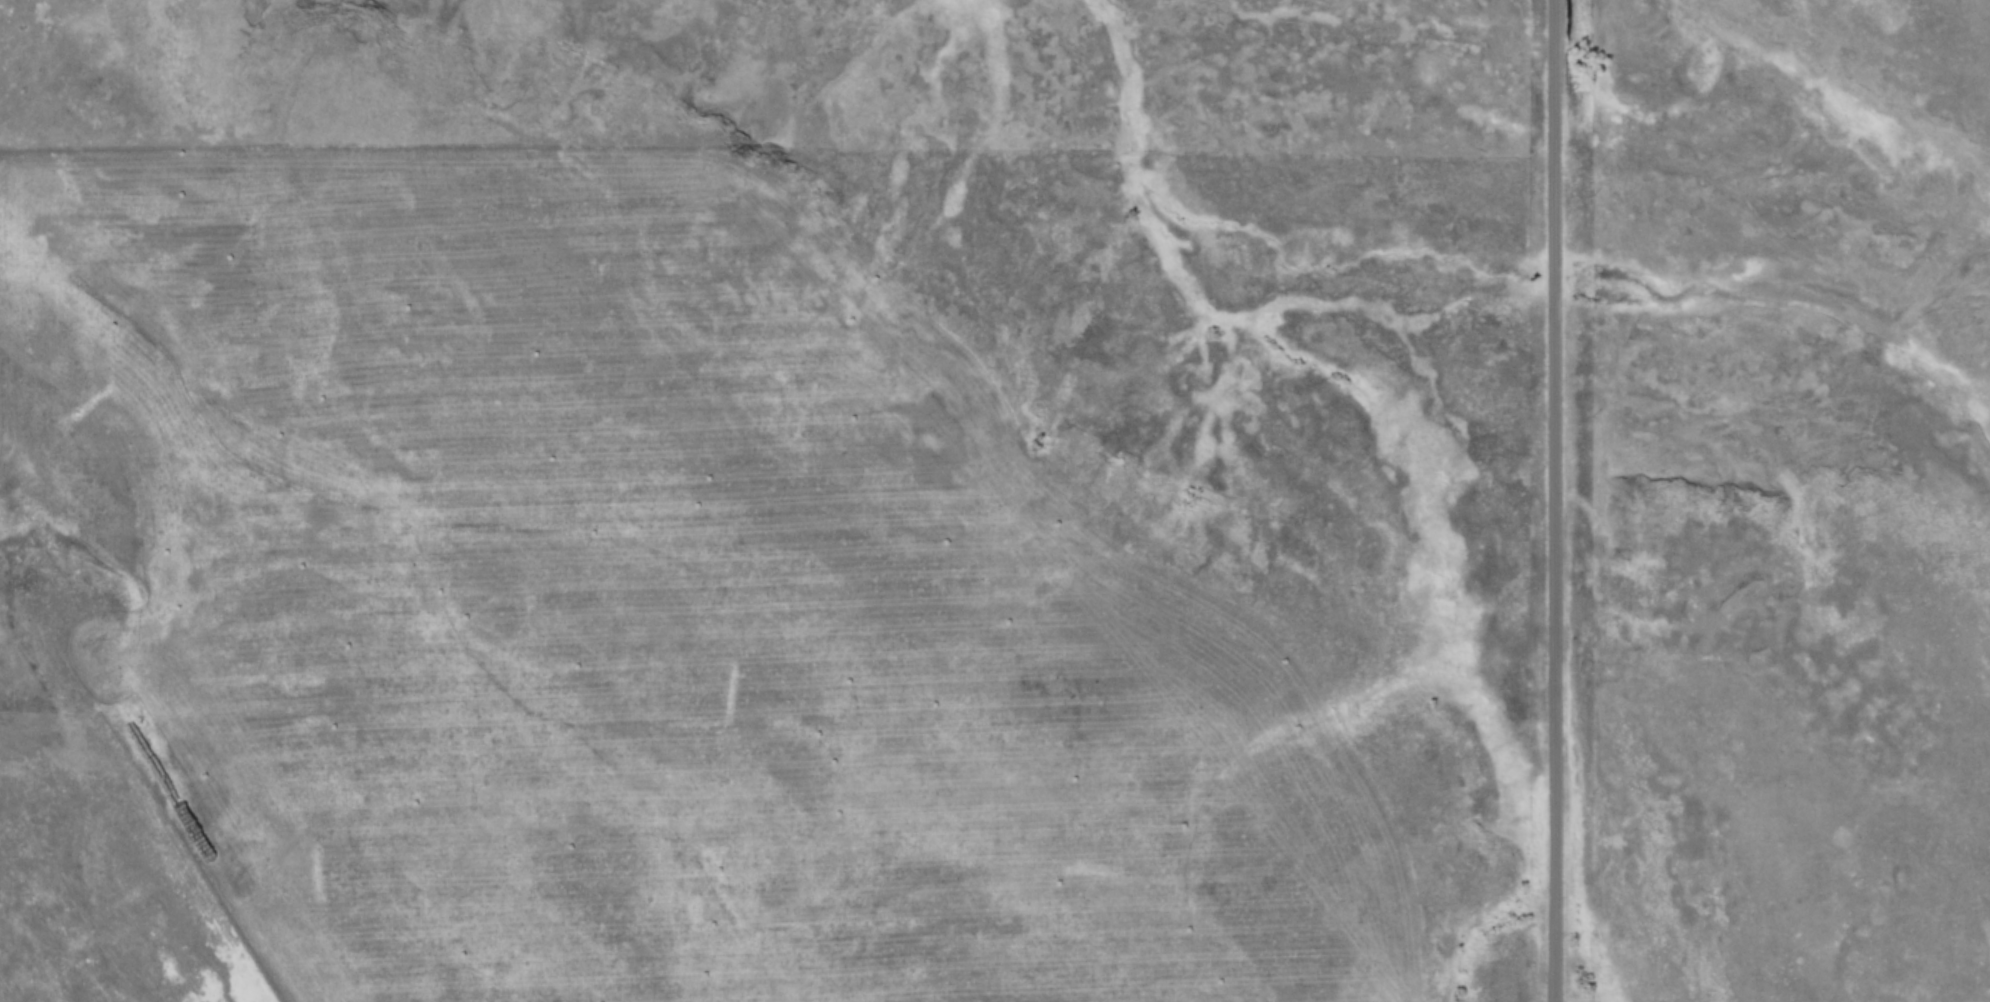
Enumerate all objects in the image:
road: (1559, 500)

